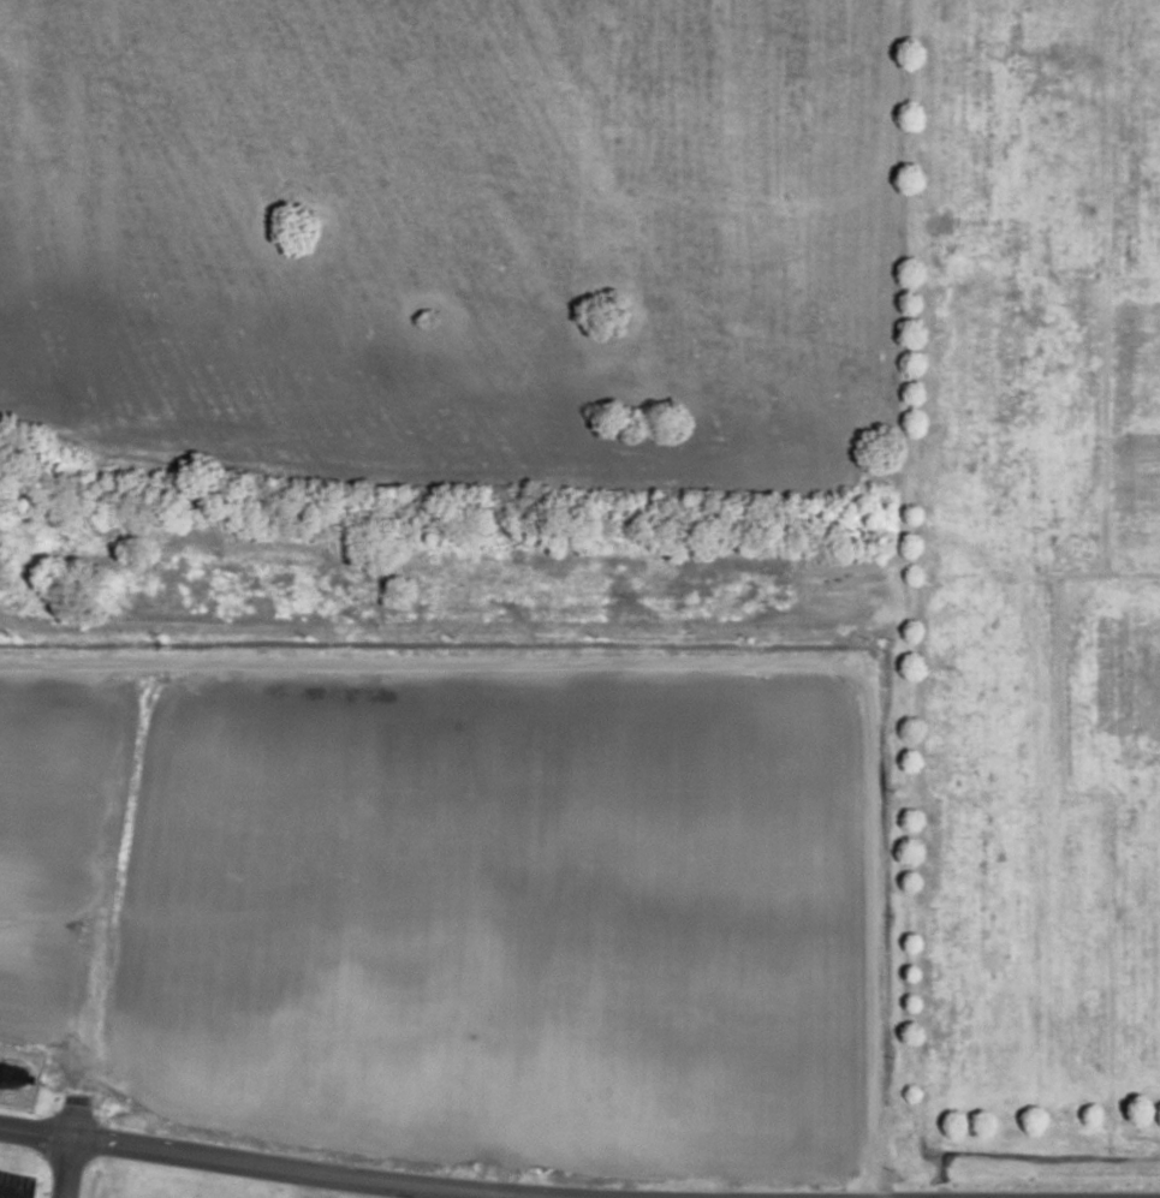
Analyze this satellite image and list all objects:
park: (1153, 130)
crop: (444, 316)
park: (1009, 443)
park: (1150, 457)
park: (1035, 595)
road: (898, 598)
road: (694, 660)
park: (986, 674)
park: (1119, 678)
park: (984, 928)
road: (36, 1131)
road: (66, 1167)
road: (321, 1173)
parking lot: (16, 1179)
road: (11, 1196)
road: (510, 1196)

